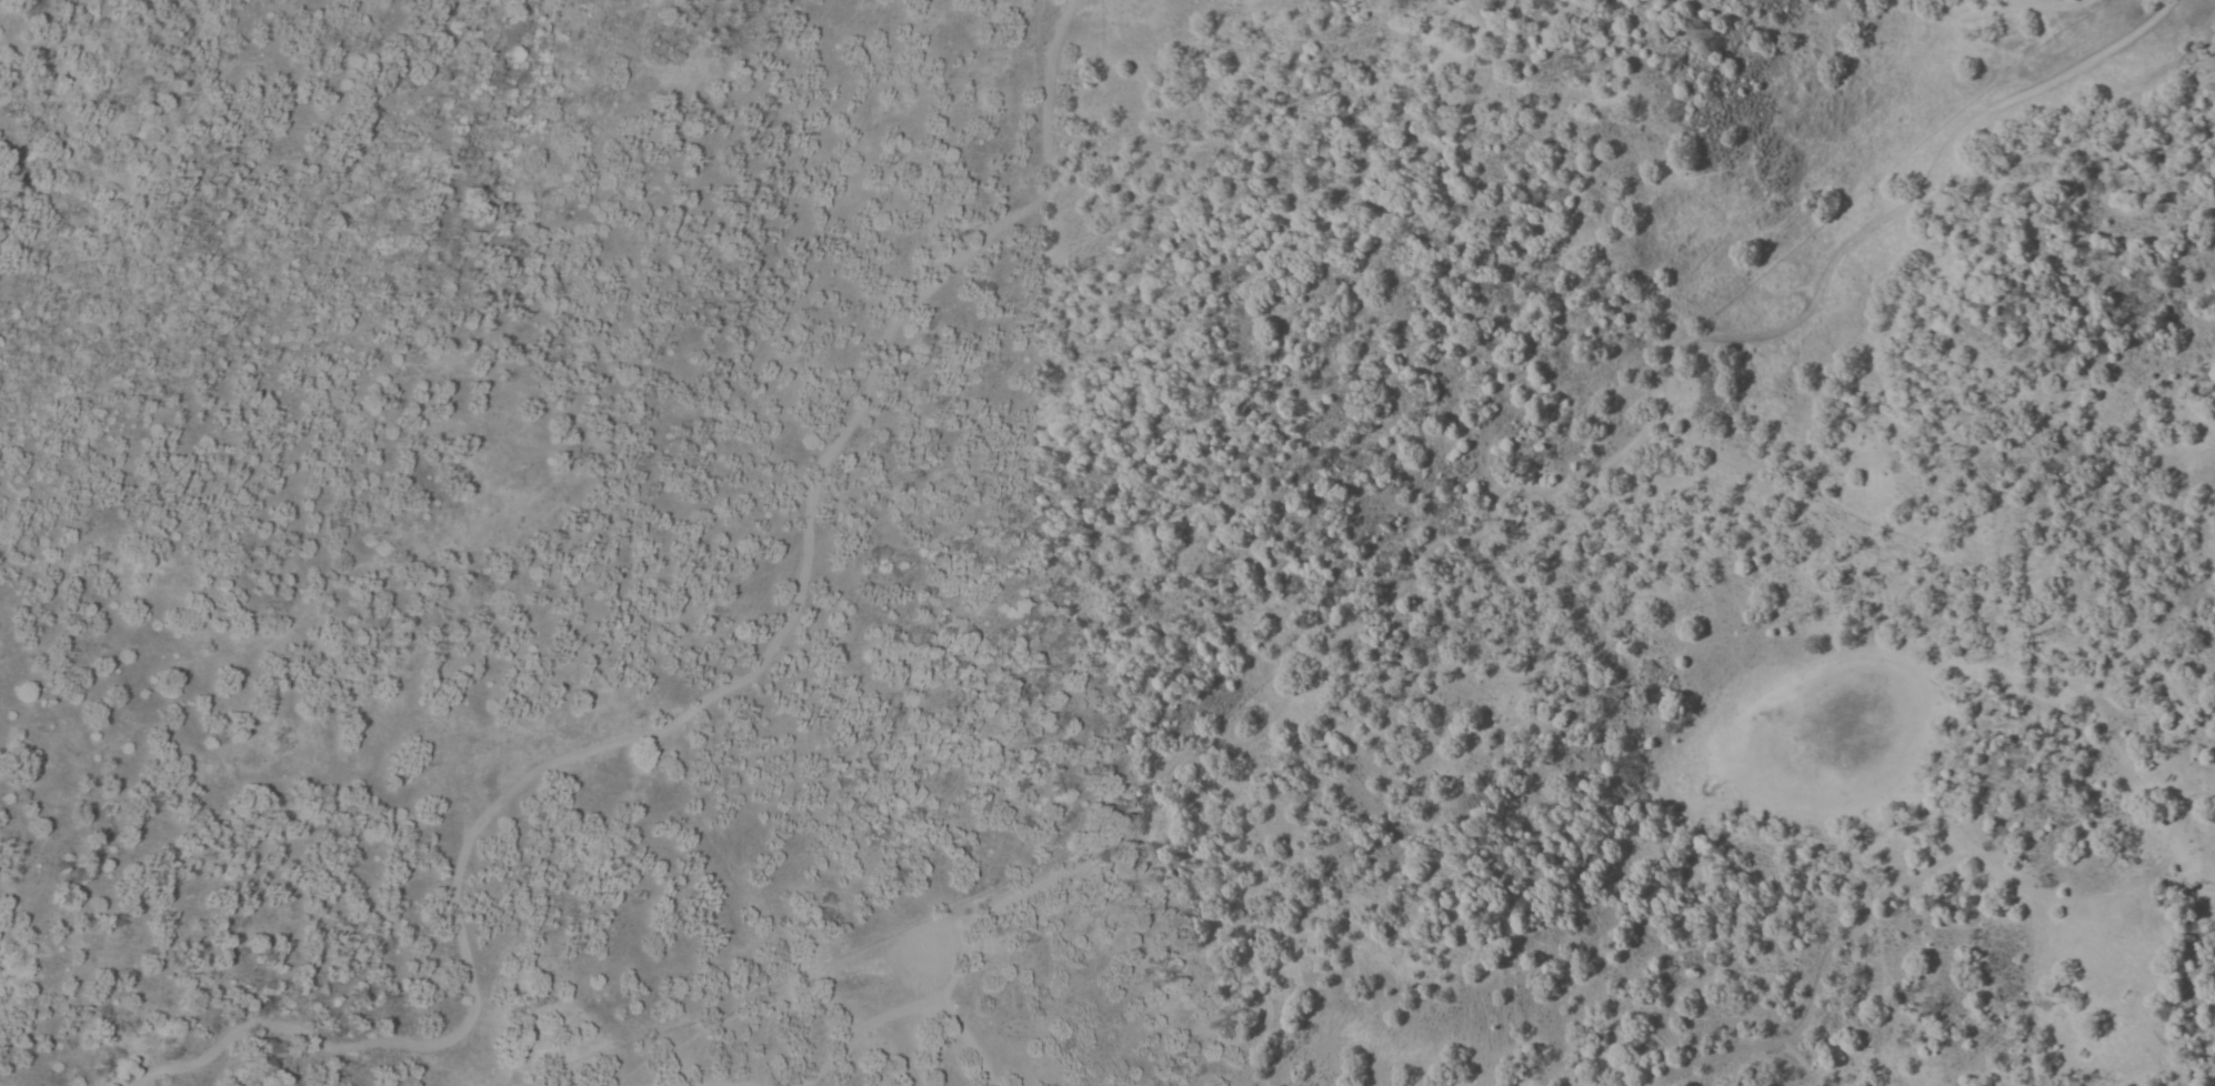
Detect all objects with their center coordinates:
road: (2005, 9)
road: (2073, 66)
road: (1456, 539)
road: (703, 704)
road: (2198, 796)
road: (2193, 845)
road: (1877, 896)
road: (864, 1029)
road: (969, 1043)

